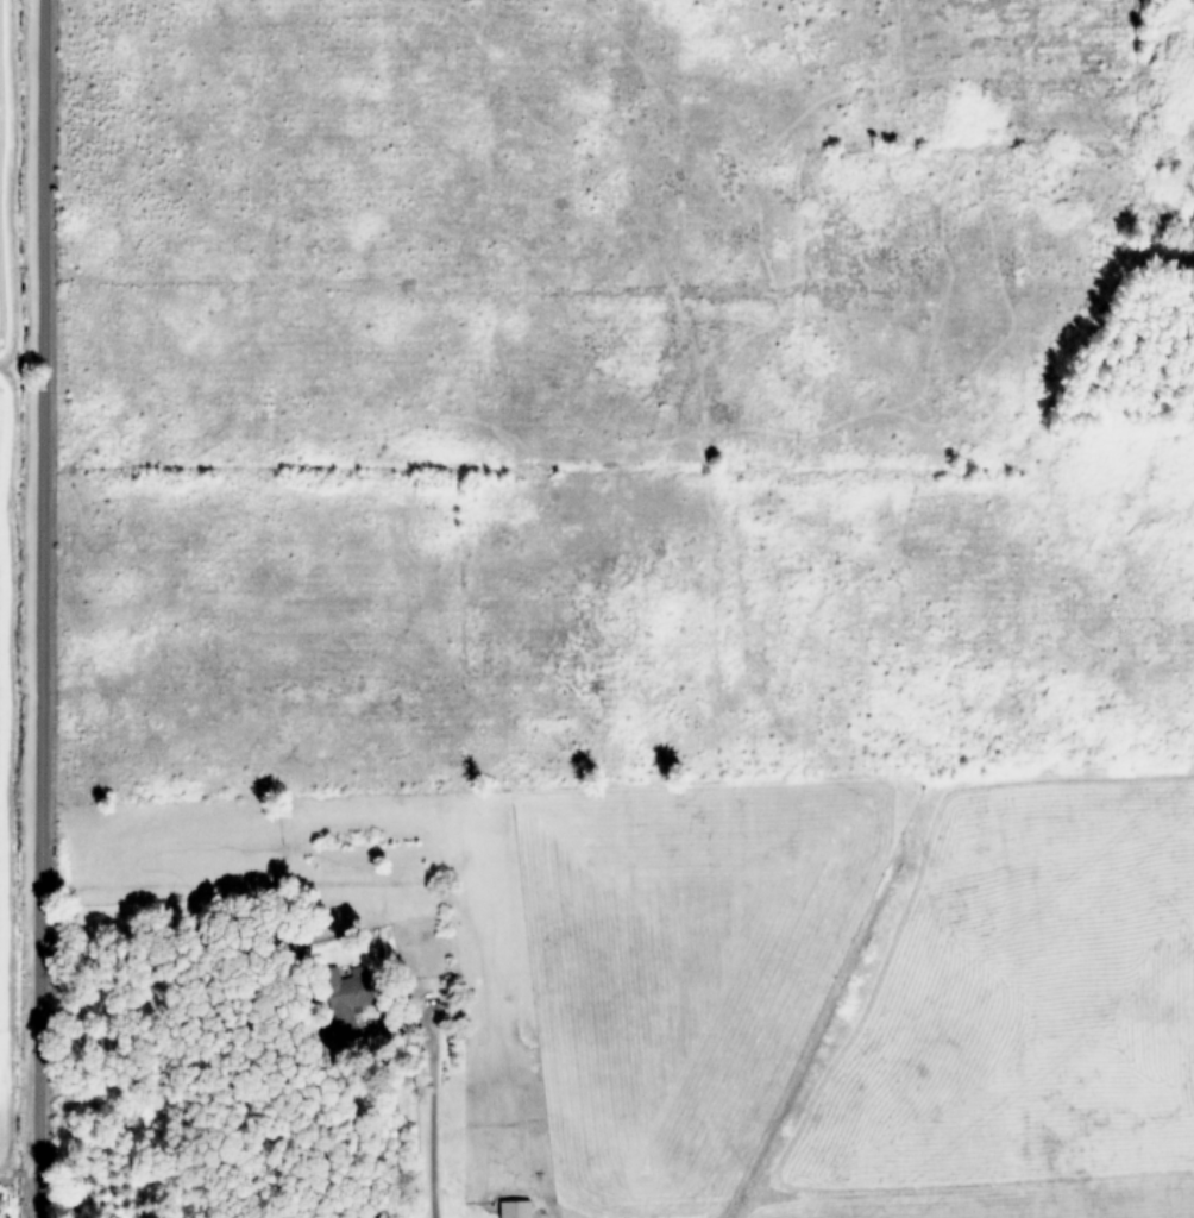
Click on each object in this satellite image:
crop: (636, 560)
road: (33, 609)
road: (423, 1164)
building: (517, 1207)

